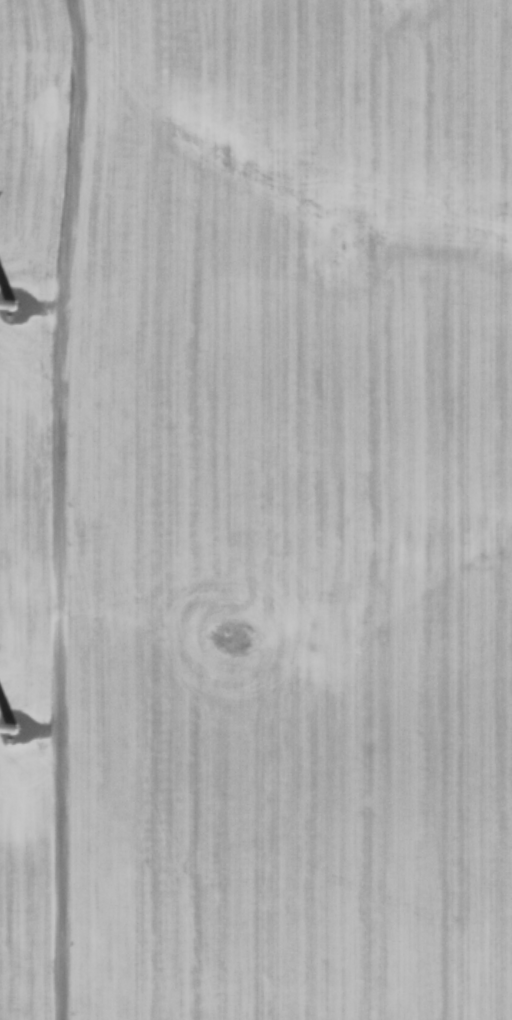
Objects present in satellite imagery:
road: (54, 509)

